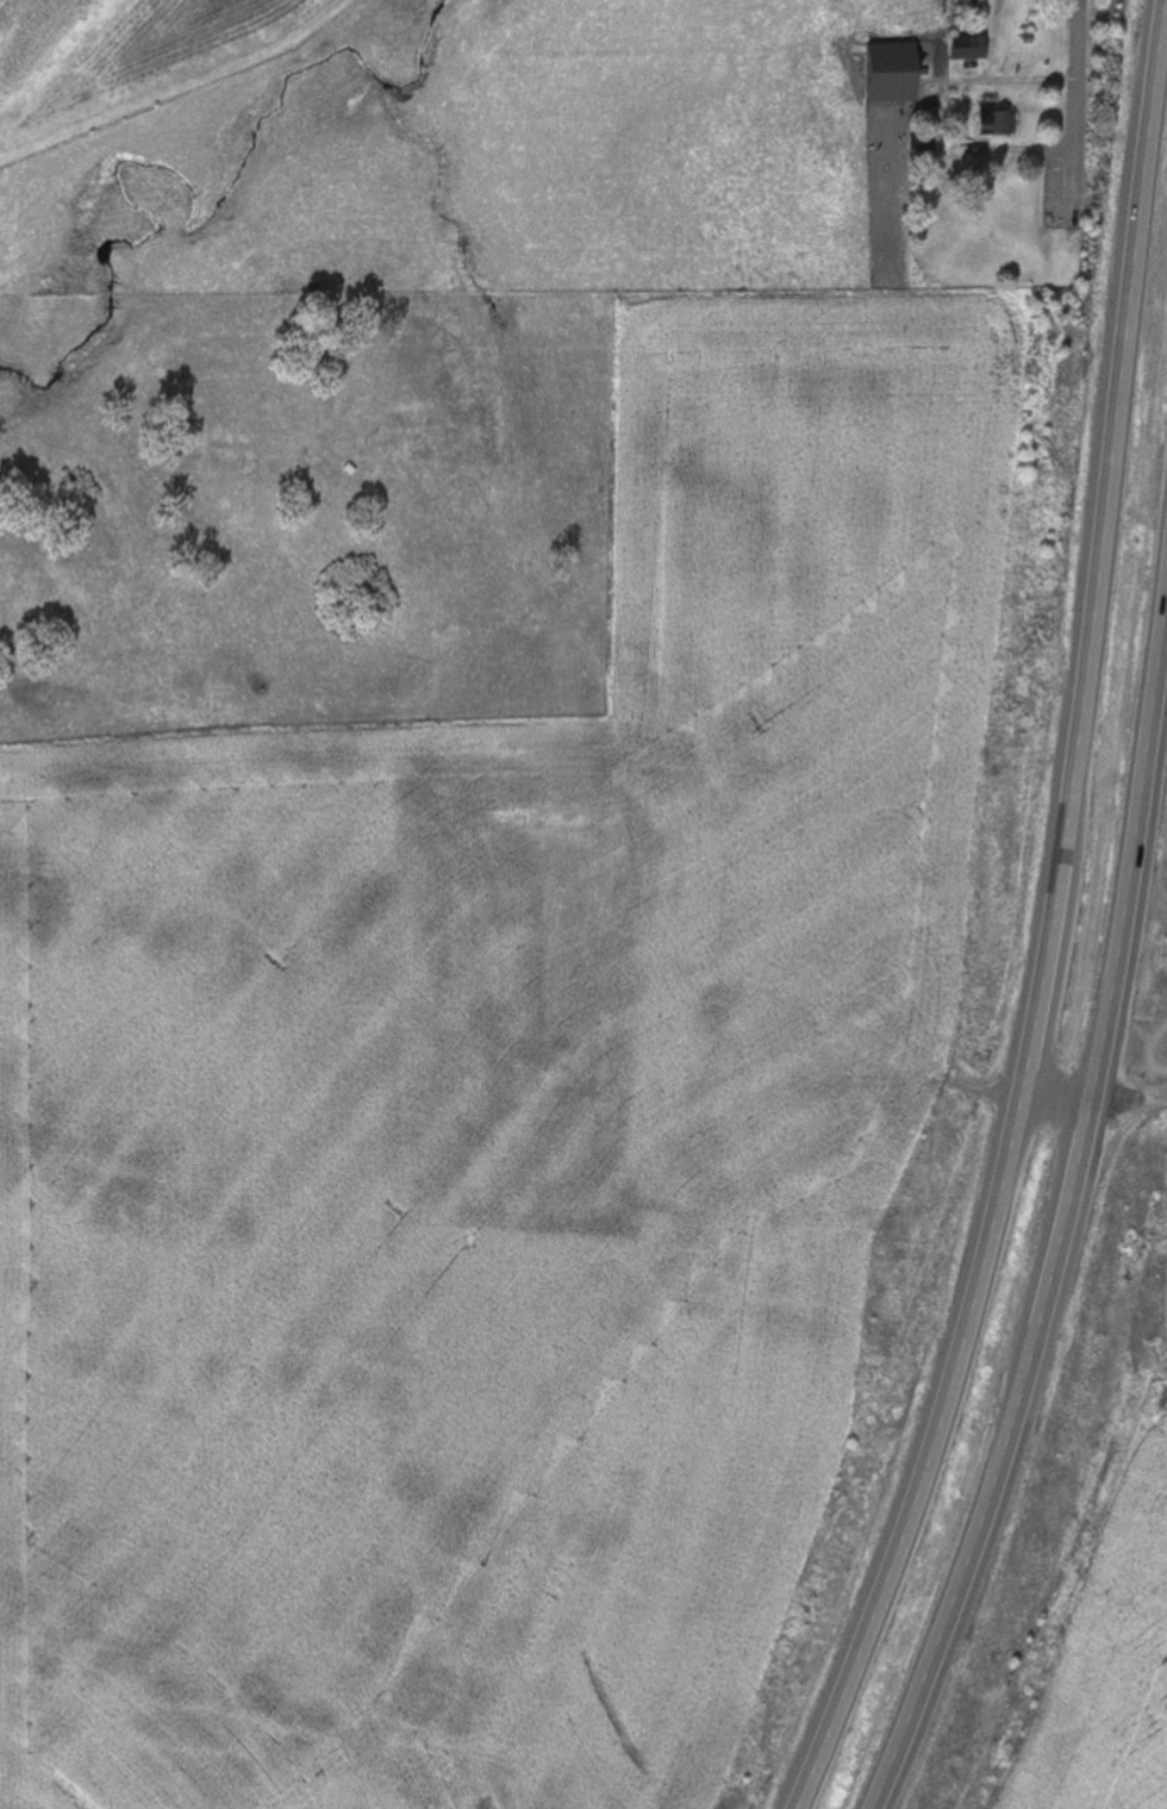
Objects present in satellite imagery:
building: (969, 49)
building: (891, 74)
road: (1076, 107)
building: (997, 123)
building: (923, 145)
building: (973, 152)
road: (1055, 921)
road: (1129, 1100)
road: (1056, 1103)
road: (1066, 1215)

